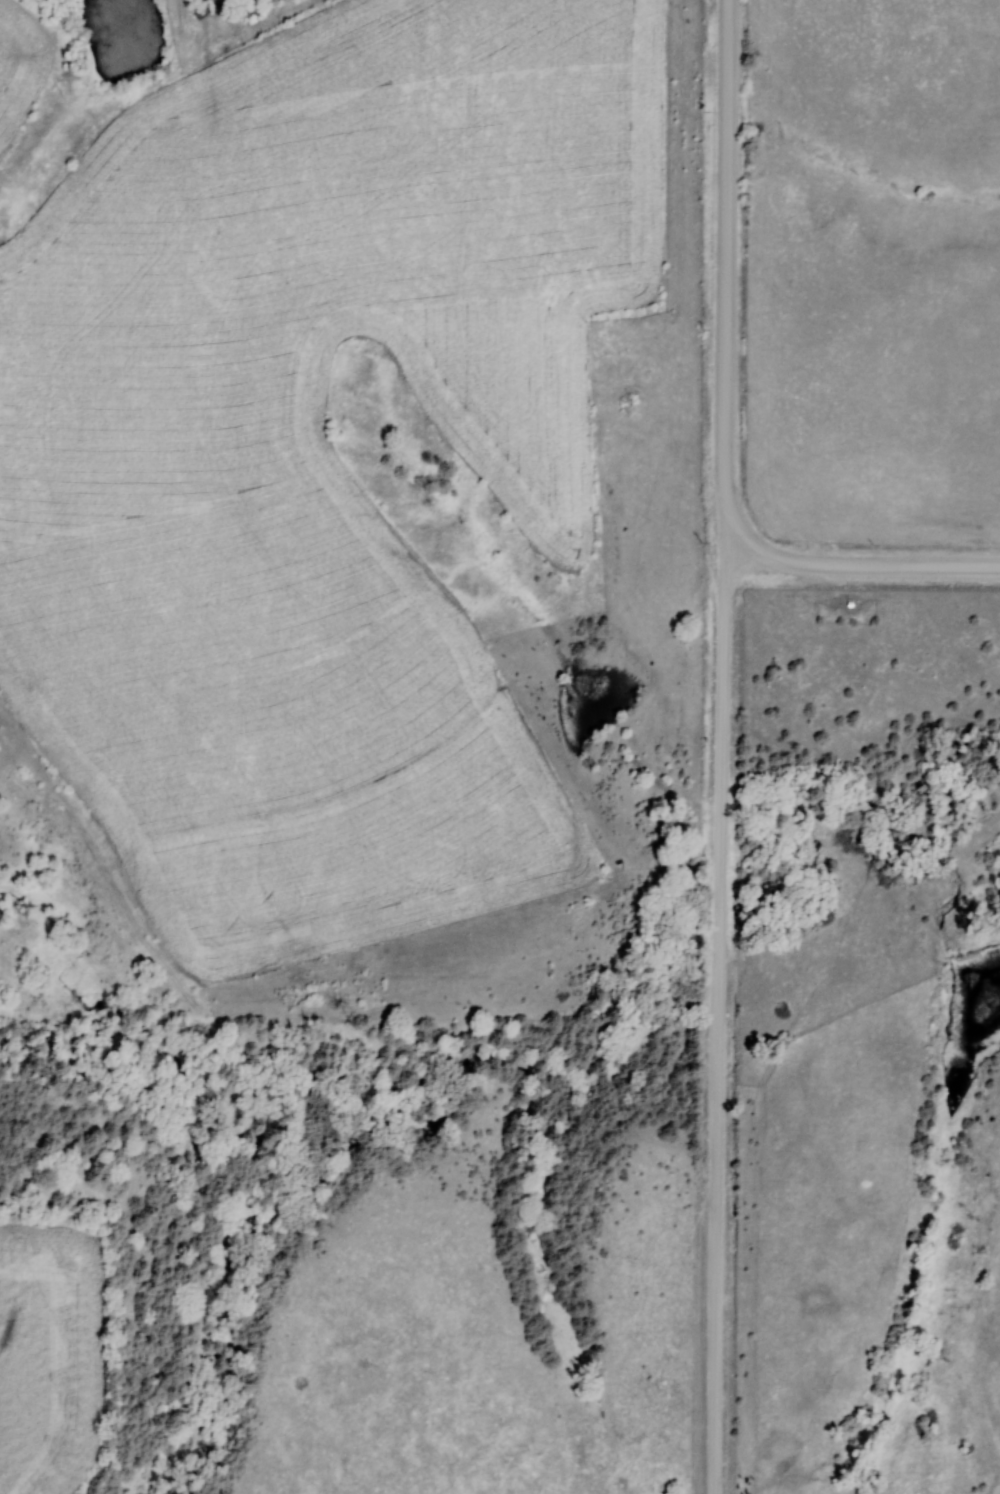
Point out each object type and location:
road: (727, 272)
road: (870, 561)
road: (722, 1013)

